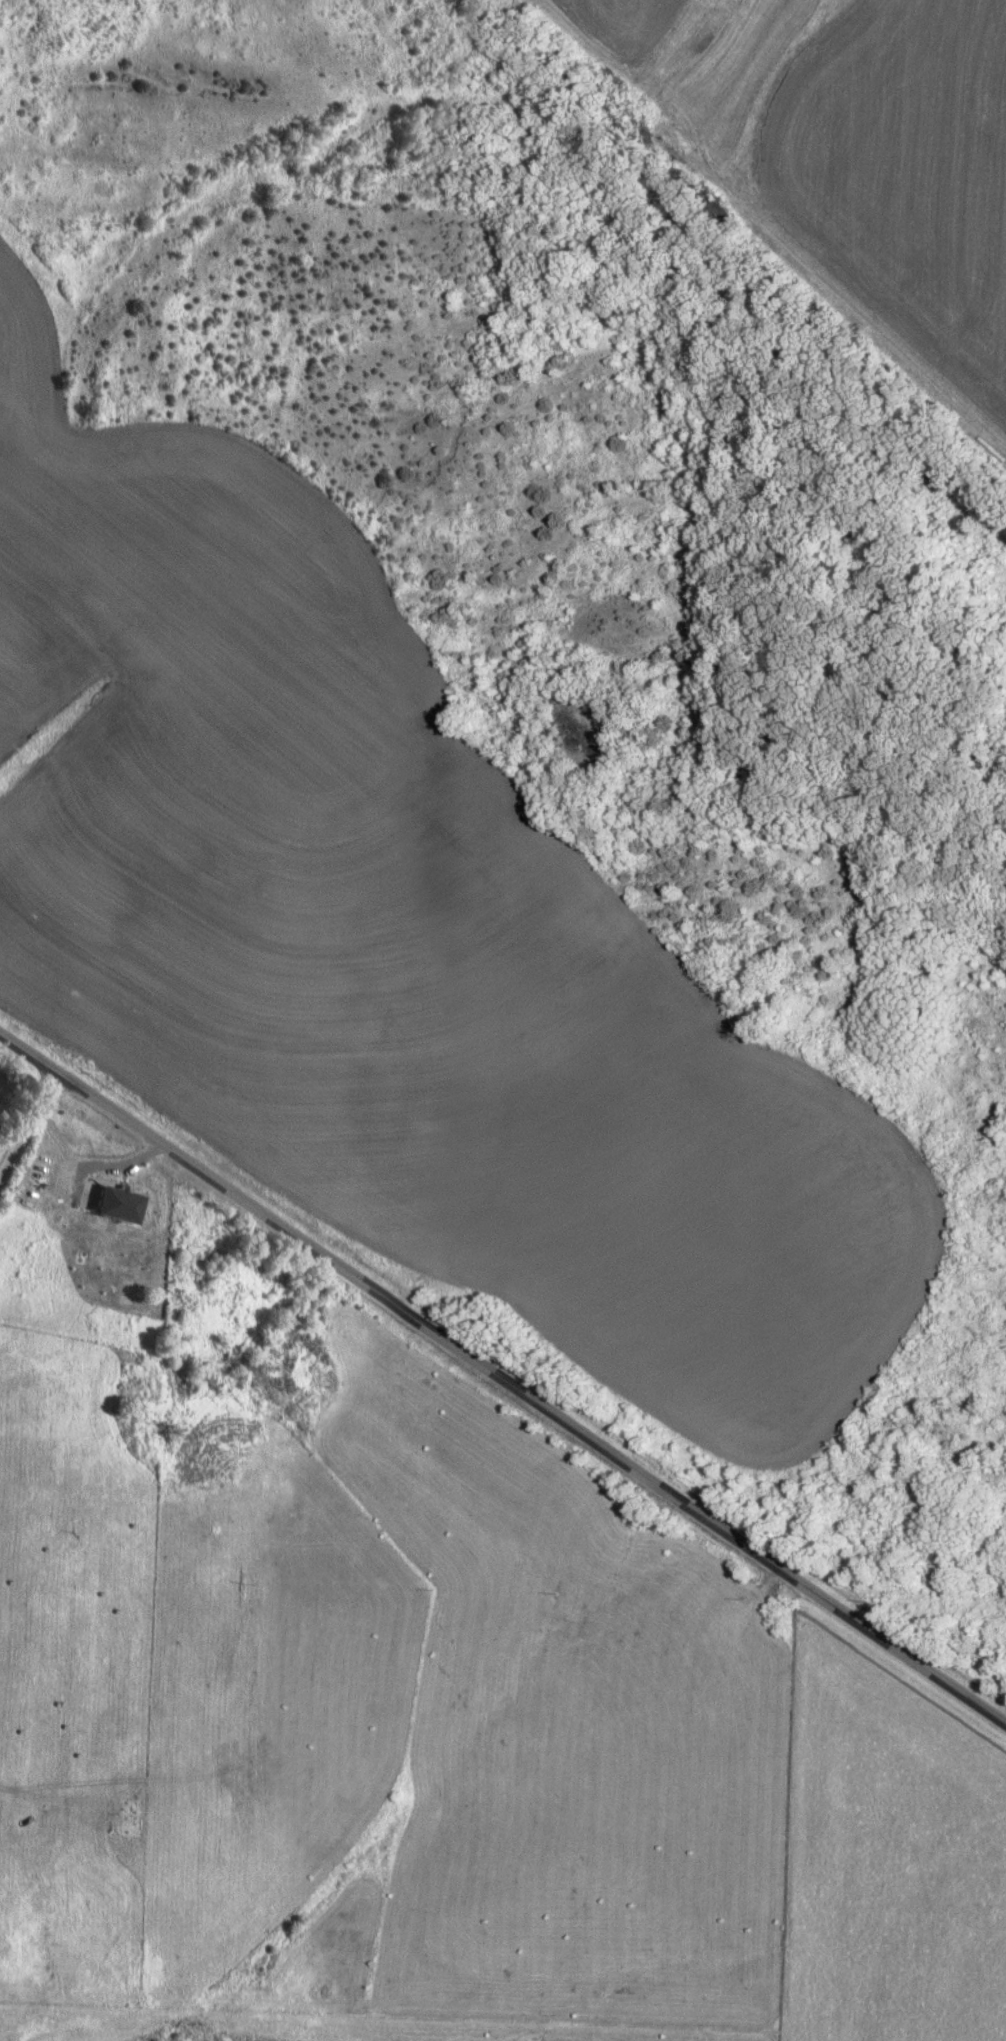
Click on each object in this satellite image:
road: (28, 1120)
road: (503, 1376)

